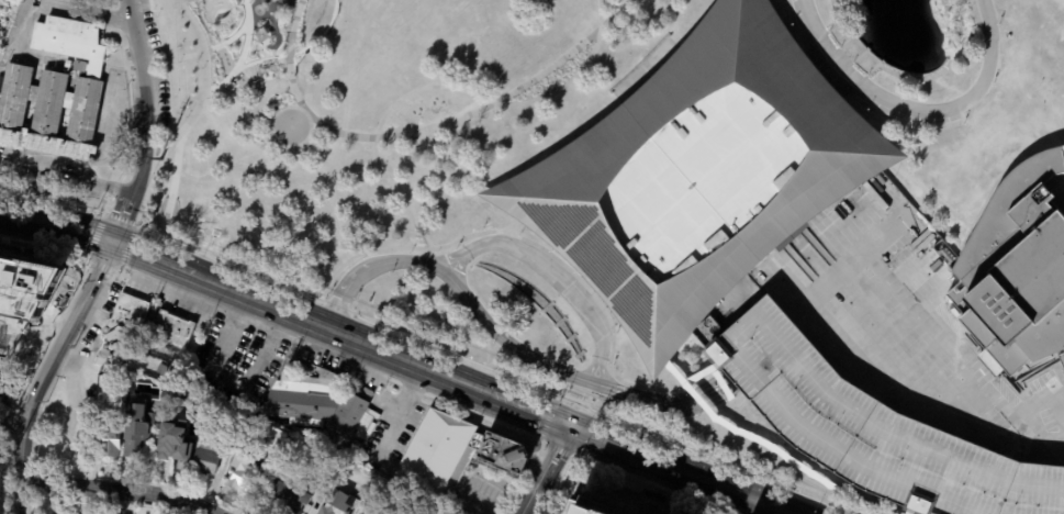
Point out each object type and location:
road: (55, 4)
road: (833, 4)
road: (127, 9)
road: (862, 14)
road: (948, 19)
park: (10, 21)
road: (293, 24)
road: (966, 26)
road: (941, 29)
road: (229, 40)
road: (242, 55)
road: (186, 56)
road: (972, 58)
road: (160, 62)
building: (69, 65)
road: (143, 65)
parking lot: (143, 66)
road: (832, 67)
road: (128, 68)
road: (888, 71)
building: (1021, 74)
road: (822, 81)
road: (206, 82)
building: (56, 92)
road: (128, 93)
road: (852, 96)
building: (1044, 99)
road: (395, 103)
road: (911, 108)
road: (289, 109)
road: (170, 116)
road: (446, 122)
road: (144, 132)
park: (989, 142)
building: (1062, 150)
road: (875, 154)
road: (141, 156)
road: (61, 157)
power tower: (159, 158)
building: (705, 176)
road: (67, 177)
road: (173, 183)
road: (1016, 187)
park: (435, 189)
road: (932, 197)
road: (60, 204)
road: (15, 215)
road: (523, 217)
road: (512, 227)
road: (70, 230)
road: (425, 236)
traffic signals: (110, 243)
road: (150, 259)
building: (1015, 269)
road: (580, 270)
road: (551, 276)
building: (32, 281)
road: (589, 289)
road: (601, 289)
road: (595, 294)
road: (259, 302)
fountain: (528, 313)
building: (127, 319)
parking lot: (905, 326)
building: (175, 328)
road: (809, 329)
road: (669, 336)
road: (505, 339)
road: (948, 348)
road: (835, 356)
road: (406, 361)
road: (484, 366)
road: (45, 372)
road: (862, 379)
road: (228, 382)
building: (317, 406)
building: (248, 407)
road: (401, 410)
road: (605, 410)
road: (527, 412)
road: (12, 417)
building: (138, 428)
traffic signals: (567, 428)
building: (869, 431)
parking lot: (869, 431)
building: (108, 439)
road: (596, 439)
building: (175, 442)
building: (288, 442)
building: (500, 454)
building: (435, 456)
building: (206, 460)
park: (11, 469)
building: (238, 469)
road: (544, 470)
road: (474, 472)
road: (705, 482)
building: (323, 485)
building: (276, 488)
road: (119, 489)
building: (296, 502)
building: (334, 504)
building: (582, 509)

